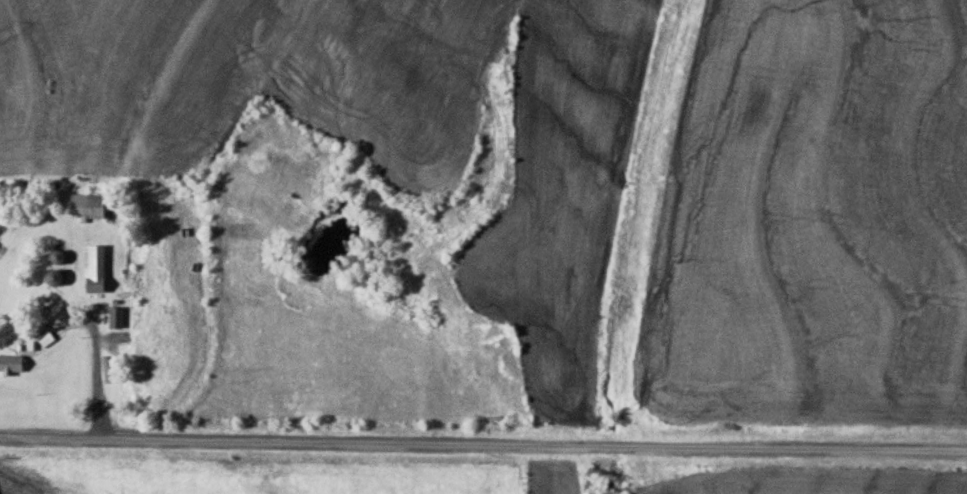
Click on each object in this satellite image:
building: (89, 205)
building: (95, 269)
building: (57, 277)
building: (117, 317)
building: (12, 363)
road: (483, 440)

